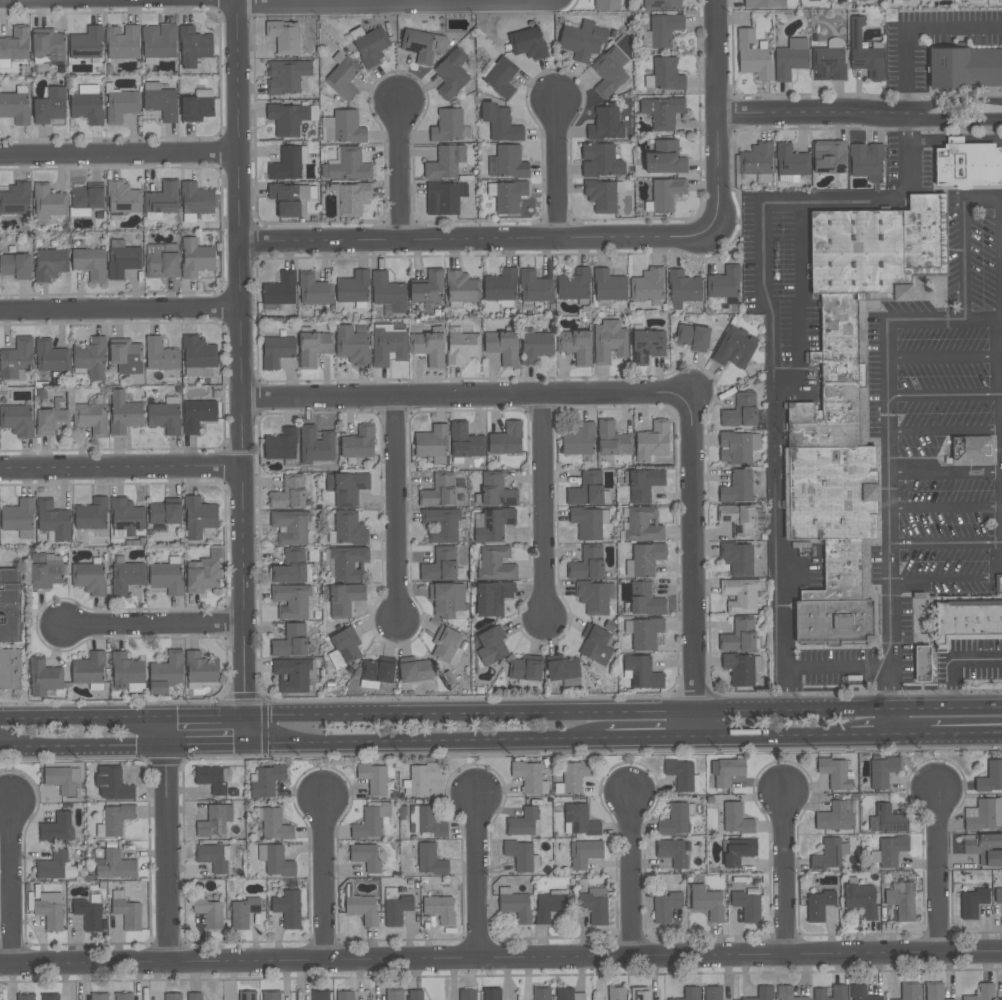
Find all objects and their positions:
building: (867, 0)
road: (118, 1)
road: (383, 2)
building: (661, 4)
building: (764, 4)
building: (607, 5)
road: (911, 28)
building: (664, 30)
building: (284, 36)
building: (583, 40)
building: (158, 41)
building: (122, 42)
building: (834, 42)
building: (527, 43)
building: (86, 44)
building: (422, 45)
building: (371, 46)
building: (14, 47)
building: (48, 47)
building: (193, 47)
building: (864, 52)
building: (752, 56)
building: (790, 59)
building: (827, 64)
building: (965, 67)
building: (610, 72)
building: (451, 74)
building: (664, 75)
building: (286, 76)
building: (342, 77)
building: (500, 77)
building: (160, 101)
road: (960, 102)
building: (87, 104)
building: (15, 106)
building: (50, 106)
building: (121, 106)
building: (197, 107)
building: (662, 112)
road: (716, 114)
road: (819, 114)
building: (287, 119)
road: (960, 122)
building: (500, 124)
building: (605, 125)
building: (447, 126)
building: (342, 127)
road: (954, 135)
road: (957, 141)
road: (120, 155)
building: (828, 157)
building: (665, 159)
building: (756, 160)
building: (790, 160)
building: (600, 161)
building: (445, 162)
building: (865, 162)
building: (507, 163)
building: (288, 164)
building: (347, 166)
building: (968, 166)
road: (558, 167)
road: (402, 172)
road: (939, 188)
building: (666, 194)
building: (603, 195)
building: (507, 196)
building: (123, 198)
building: (444, 198)
building: (14, 199)
building: (196, 199)
building: (352, 199)
building: (85, 200)
building: (48, 201)
building: (161, 201)
road: (478, 239)
road: (965, 243)
building: (196, 258)
building: (122, 259)
building: (89, 263)
building: (160, 263)
building: (50, 264)
building: (16, 266)
building: (724, 283)
building: (574, 285)
building: (647, 285)
building: (500, 286)
building: (608, 286)
building: (427, 287)
building: (462, 287)
building: (535, 287)
building: (353, 289)
building: (683, 289)
building: (280, 290)
building: (313, 290)
building: (388, 293)
road: (121, 312)
road: (243, 313)
building: (693, 338)
building: (609, 341)
road: (773, 343)
building: (352, 346)
building: (388, 346)
building: (575, 346)
building: (313, 347)
building: (502, 347)
building: (536, 347)
building: (428, 348)
building: (462, 348)
building: (735, 348)
building: (276, 351)
building: (160, 355)
building: (198, 355)
building: (126, 356)
building: (50, 357)
building: (16, 359)
building: (91, 359)
road: (945, 359)
road: (945, 395)
road: (467, 398)
building: (849, 404)
building: (740, 411)
building: (124, 413)
building: (198, 415)
building: (164, 416)
building: (90, 418)
building: (17, 420)
building: (50, 421)
road: (945, 431)
building: (506, 440)
building: (579, 440)
building: (613, 440)
building: (431, 442)
building: (465, 442)
building: (652, 442)
building: (358, 444)
building: (281, 445)
building: (316, 445)
building: (737, 447)
building: (970, 450)
road: (888, 459)
road: (122, 472)
road: (945, 473)
building: (643, 485)
building: (347, 488)
building: (737, 488)
building: (587, 490)
building: (440, 491)
building: (496, 491)
building: (289, 493)
road: (945, 507)
road: (396, 510)
road: (544, 511)
building: (165, 512)
building: (91, 515)
building: (199, 517)
building: (19, 518)
building: (126, 518)
building: (738, 521)
building: (53, 522)
building: (588, 523)
building: (442, 525)
building: (494, 525)
building: (643, 525)
building: (291, 527)
building: (347, 529)
road: (946, 543)
building: (738, 559)
building: (644, 560)
building: (348, 563)
building: (495, 564)
building: (587, 564)
building: (440, 566)
building: (290, 568)
road: (696, 568)
building: (46, 571)
road: (994, 574)
building: (202, 575)
building: (126, 577)
building: (88, 578)
building: (166, 578)
road: (938, 578)
building: (998, 586)
building: (740, 595)
building: (595, 597)
building: (492, 598)
building: (343, 599)
building: (447, 600)
building: (645, 600)
building: (291, 601)
building: (966, 623)
road: (154, 627)
building: (644, 633)
building: (739, 636)
building: (291, 642)
building: (345, 644)
building: (595, 645)
building: (491, 646)
building: (448, 647)
building: (922, 664)
road: (954, 667)
building: (169, 668)
building: (201, 668)
building: (526, 668)
building: (563, 668)
road: (838, 668)
building: (10, 669)
building: (741, 669)
building: (414, 670)
building: (89, 671)
building: (377, 671)
road: (248, 672)
building: (642, 672)
building: (127, 673)
building: (293, 675)
building: (43, 678)
building: (158, 688)
road: (789, 706)
road: (474, 713)
traffic signals: (168, 716)
road: (209, 716)
road: (84, 717)
traffic signals: (250, 717)
road: (941, 717)
road: (168, 730)
road: (250, 730)
road: (791, 735)
road: (652, 738)
road: (428, 740)
road: (209, 743)
traffic signals: (251, 743)
traffic signals: (168, 744)
road: (84, 745)
building: (726, 771)
building: (882, 772)
building: (835, 773)
building: (575, 775)
building: (682, 775)
building: (527, 776)
building: (990, 777)
building: (210, 778)
building: (373, 778)
building: (419, 778)
building: (62, 779)
building: (265, 780)
building: (111, 783)
building: (984, 814)
building: (835, 816)
building: (676, 819)
building: (736, 819)
building: (886, 819)
building: (113, 820)
building: (214, 820)
building: (370, 820)
building: (579, 820)
building: (427, 821)
building: (524, 822)
building: (273, 824)
building: (57, 827)
building: (984, 848)
building: (736, 851)
building: (888, 851)
building: (671, 852)
building: (583, 853)
road: (168, 854)
building: (829, 854)
building: (520, 855)
building: (367, 856)
building: (213, 857)
building: (274, 860)
building: (429, 860)
building: (114, 865)
building: (55, 866)
road: (938, 870)
road: (787, 872)
road: (479, 878)
road: (630, 878)
road: (324, 881)
road: (10, 883)
building: (391, 893)
building: (998, 896)
building: (901, 899)
building: (860, 900)
building: (706, 901)
building: (972, 902)
building: (549, 904)
building: (594, 904)
building: (514, 905)
building: (746, 905)
building: (817, 905)
building: (664, 906)
building: (287, 908)
building: (439, 908)
building: (362, 909)
building: (49, 910)
building: (396, 910)
building: (209, 912)
building: (242, 912)
building: (87, 913)
building: (127, 913)
road: (501, 959)
building: (908, 991)
building: (933, 991)
building: (981, 992)
building: (542, 993)
building: (615, 993)
building: (639, 993)
building: (712, 993)
building: (761, 993)
building: (861, 993)
building: (491, 994)
building: (564, 994)
building: (688, 994)
building: (787, 994)
building: (839, 994)
building: (320, 995)
building: (345, 995)
building: (393, 995)
building: (414, 995)
building: (467, 995)
building: (25, 996)
building: (123, 996)
building: (173, 996)
building: (195, 996)
building: (247, 996)
building: (270, 996)
building: (50, 997)
building: (99, 997)
building: (1000, 998)

